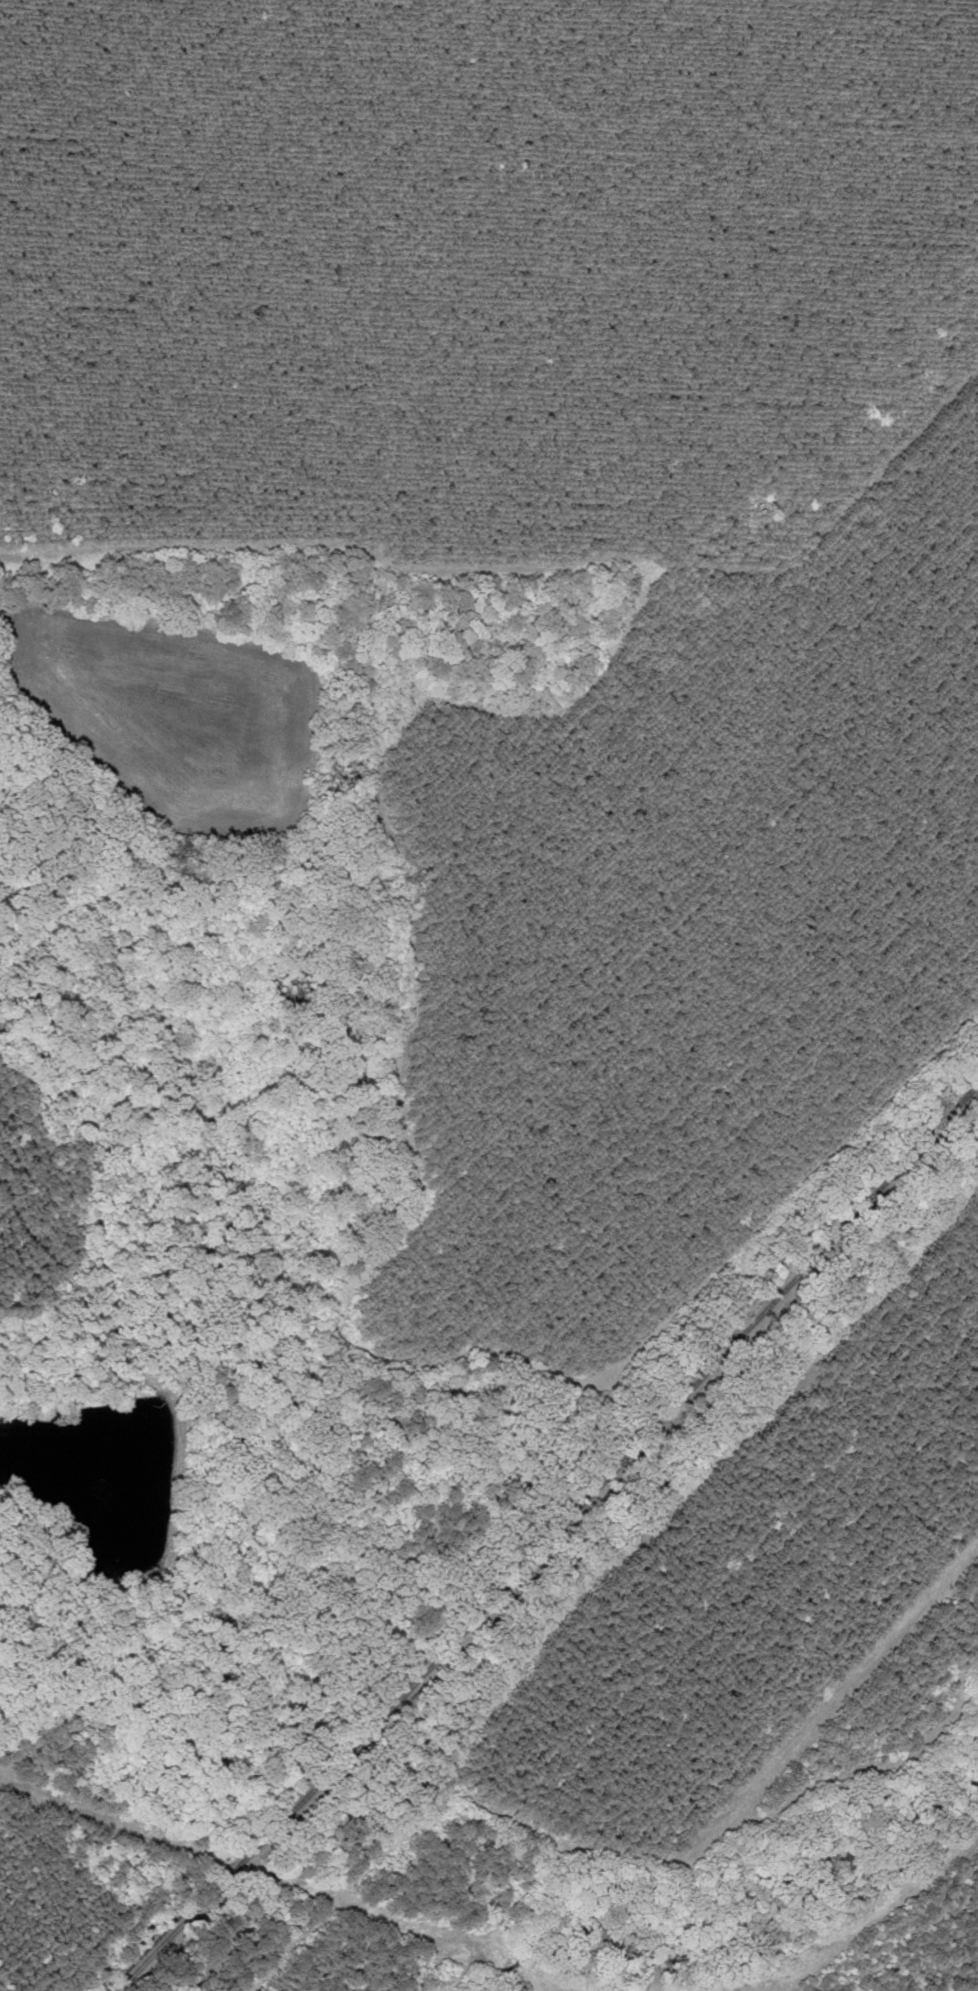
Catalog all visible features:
railway: (536, 1526)

